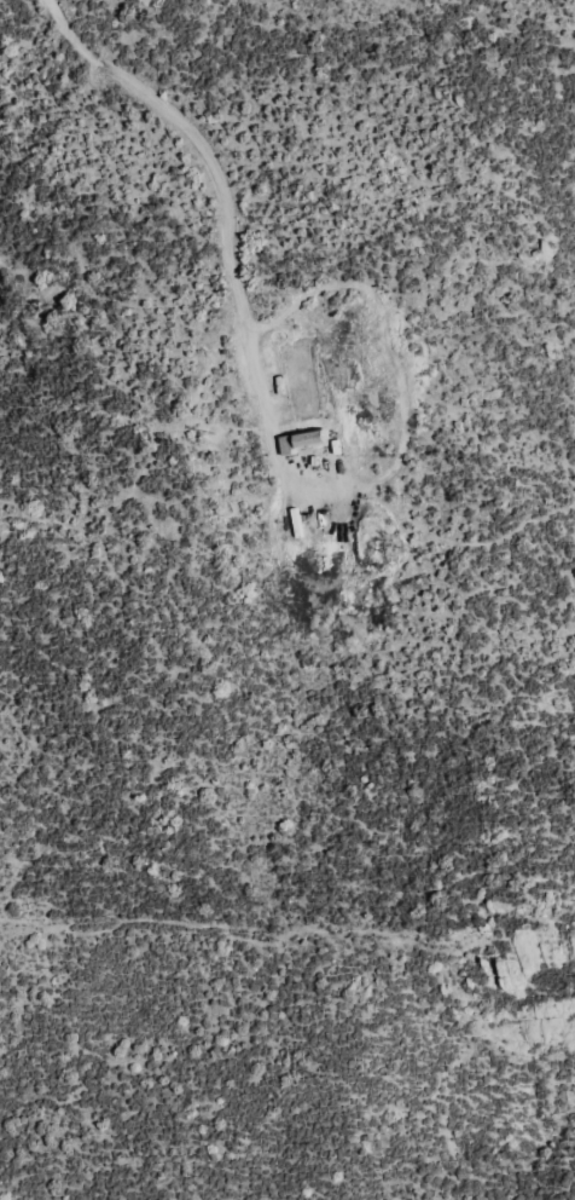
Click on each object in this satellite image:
building: (302, 442)

